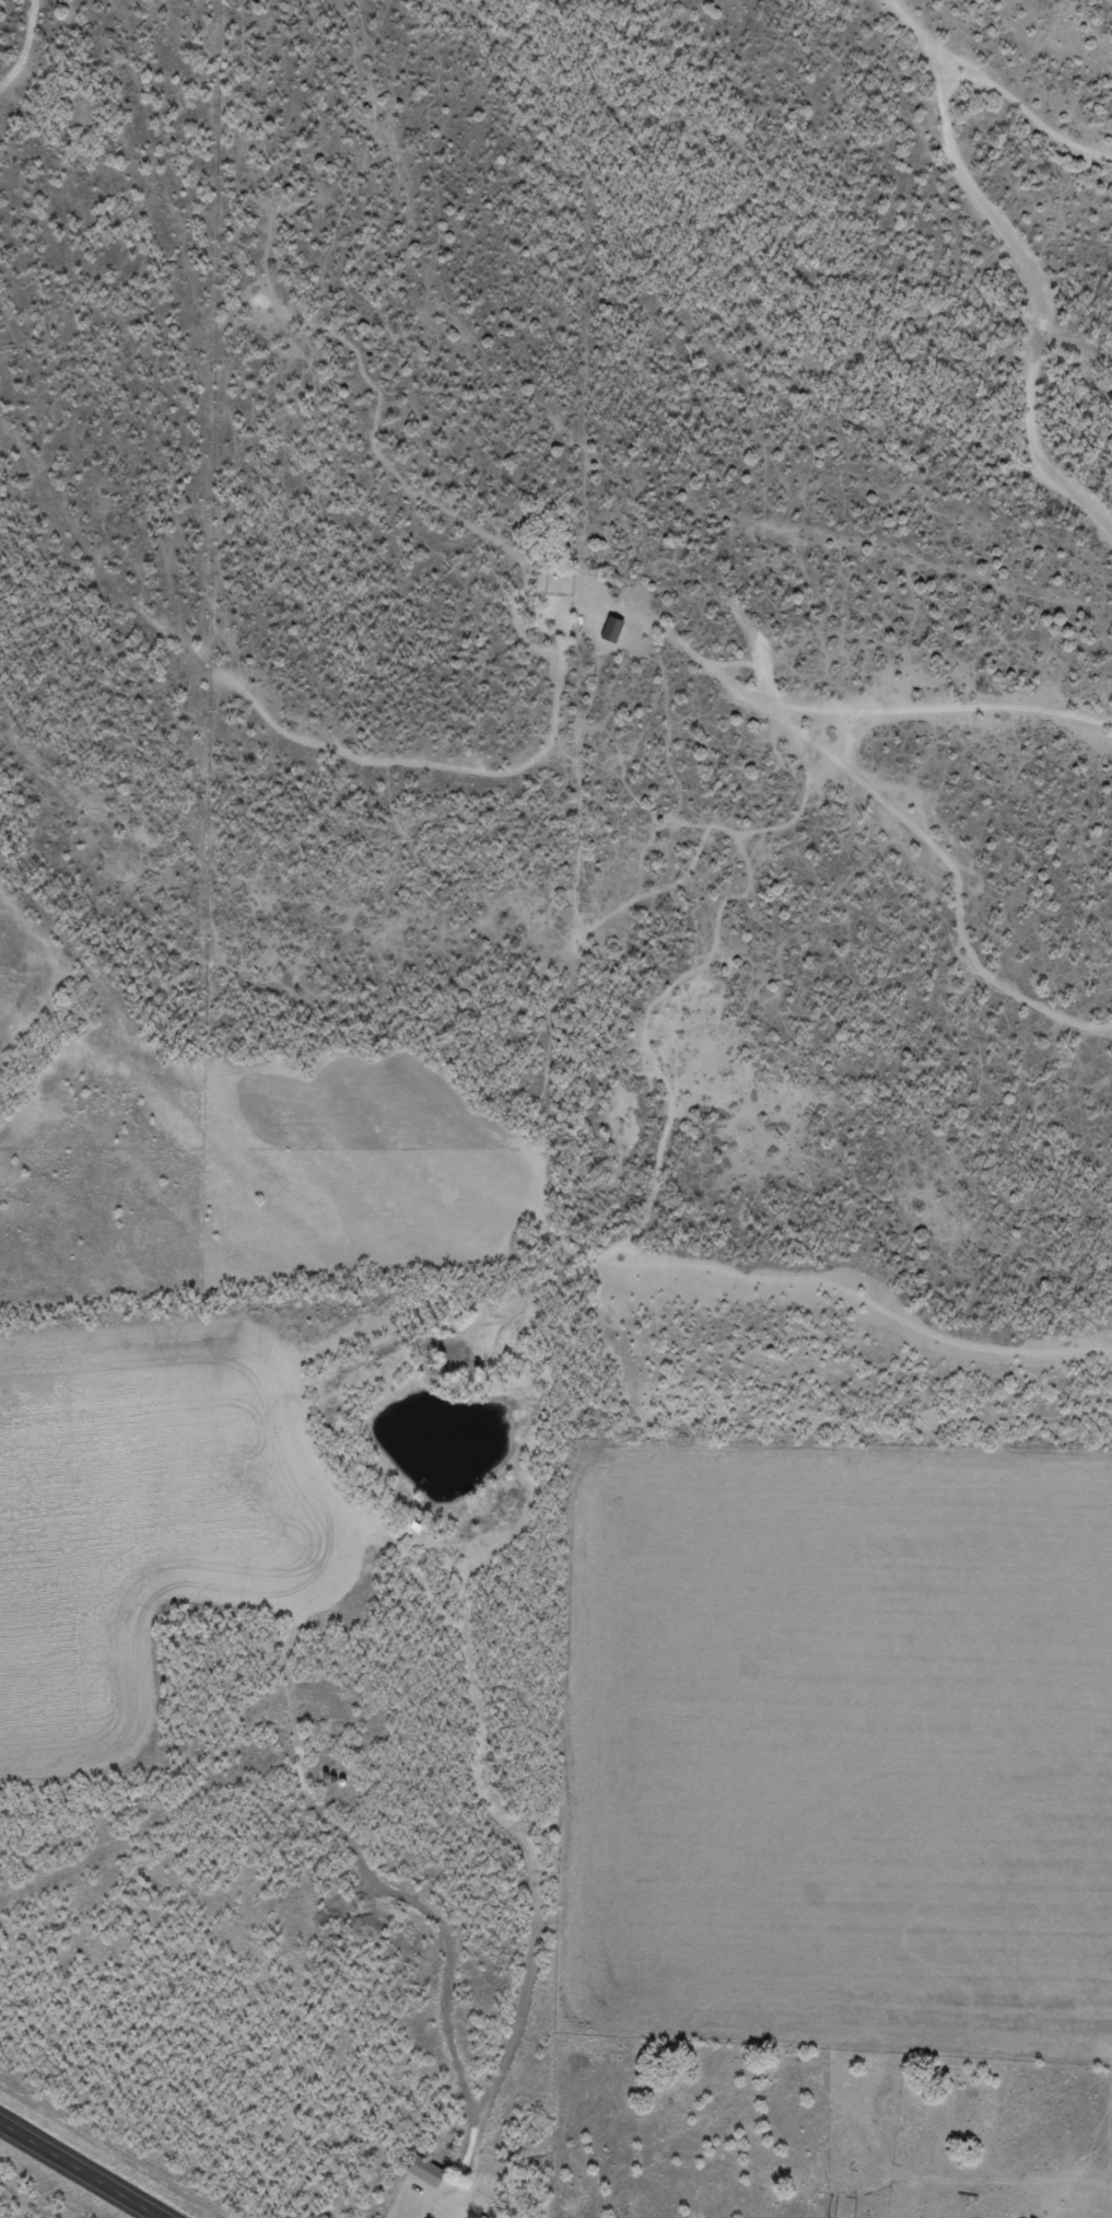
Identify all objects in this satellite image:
road: (16, 38)
road: (77, 2172)
building: (430, 2172)

